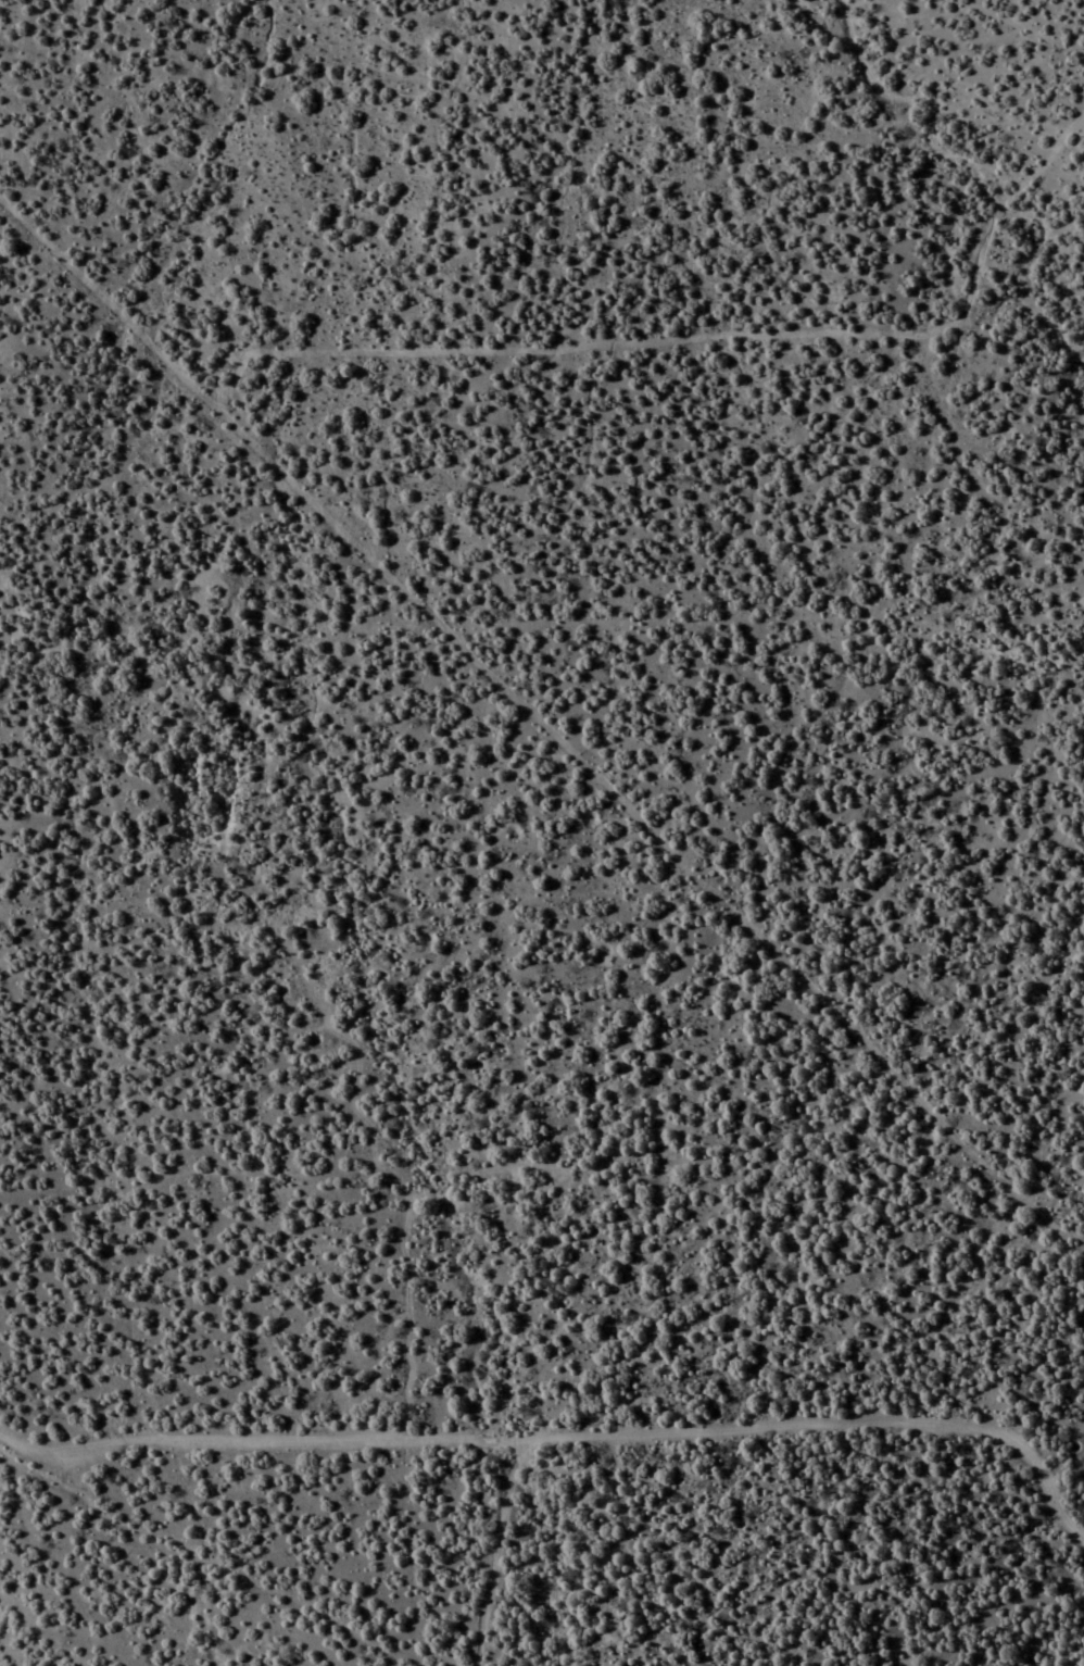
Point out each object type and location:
road: (547, 1488)

